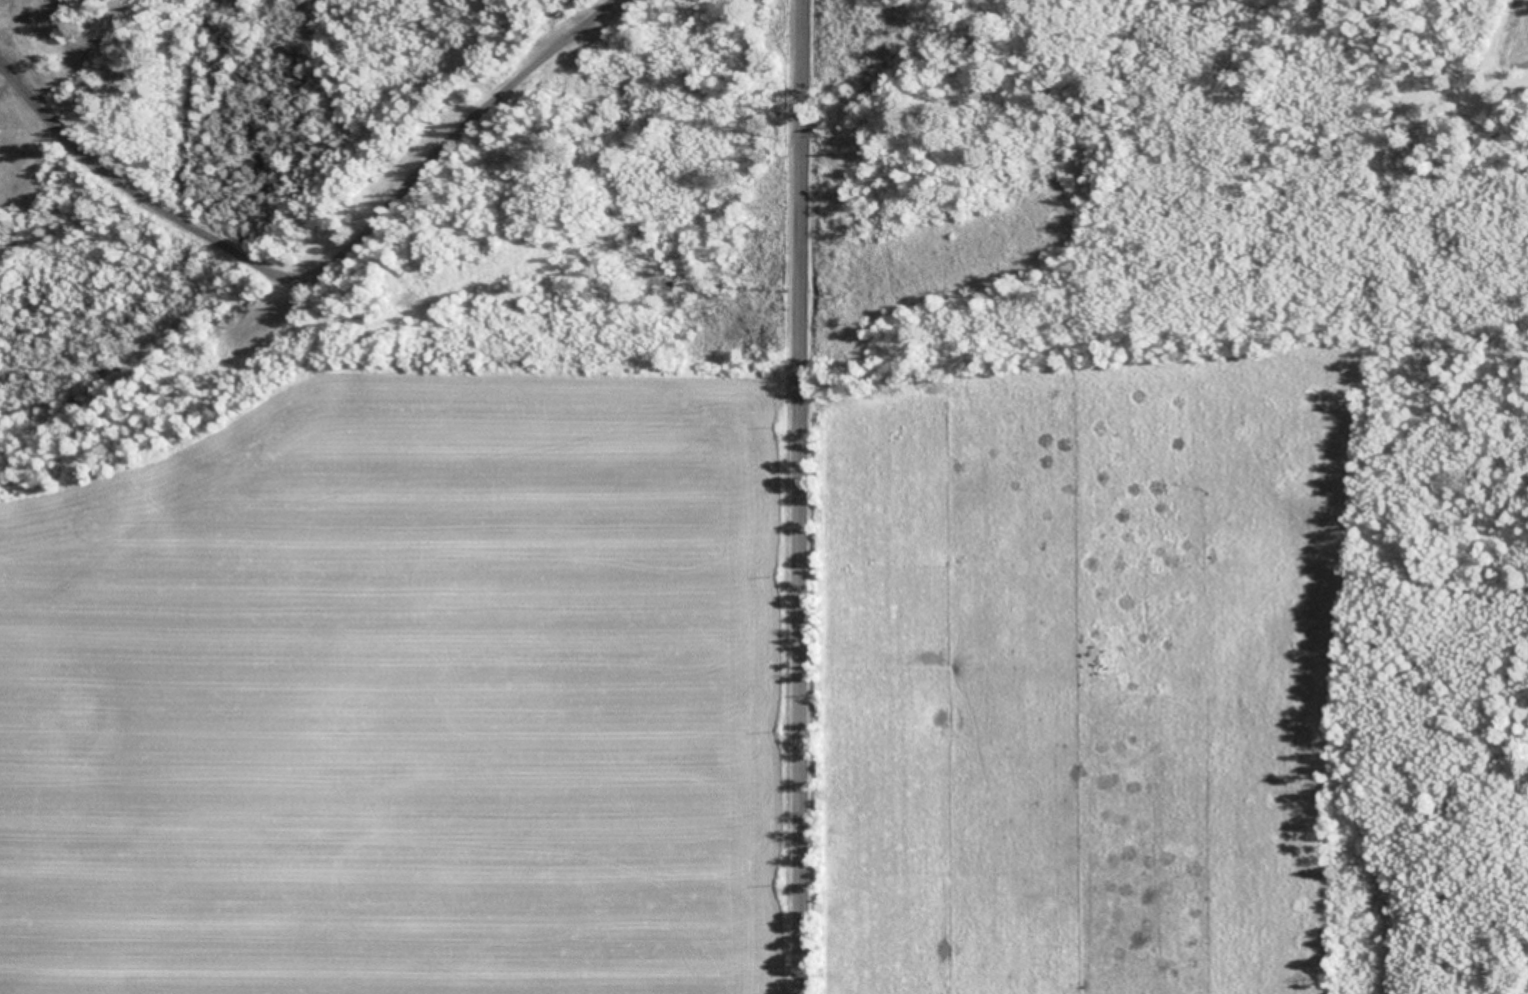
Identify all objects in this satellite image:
road: (315, 266)
road: (807, 497)

